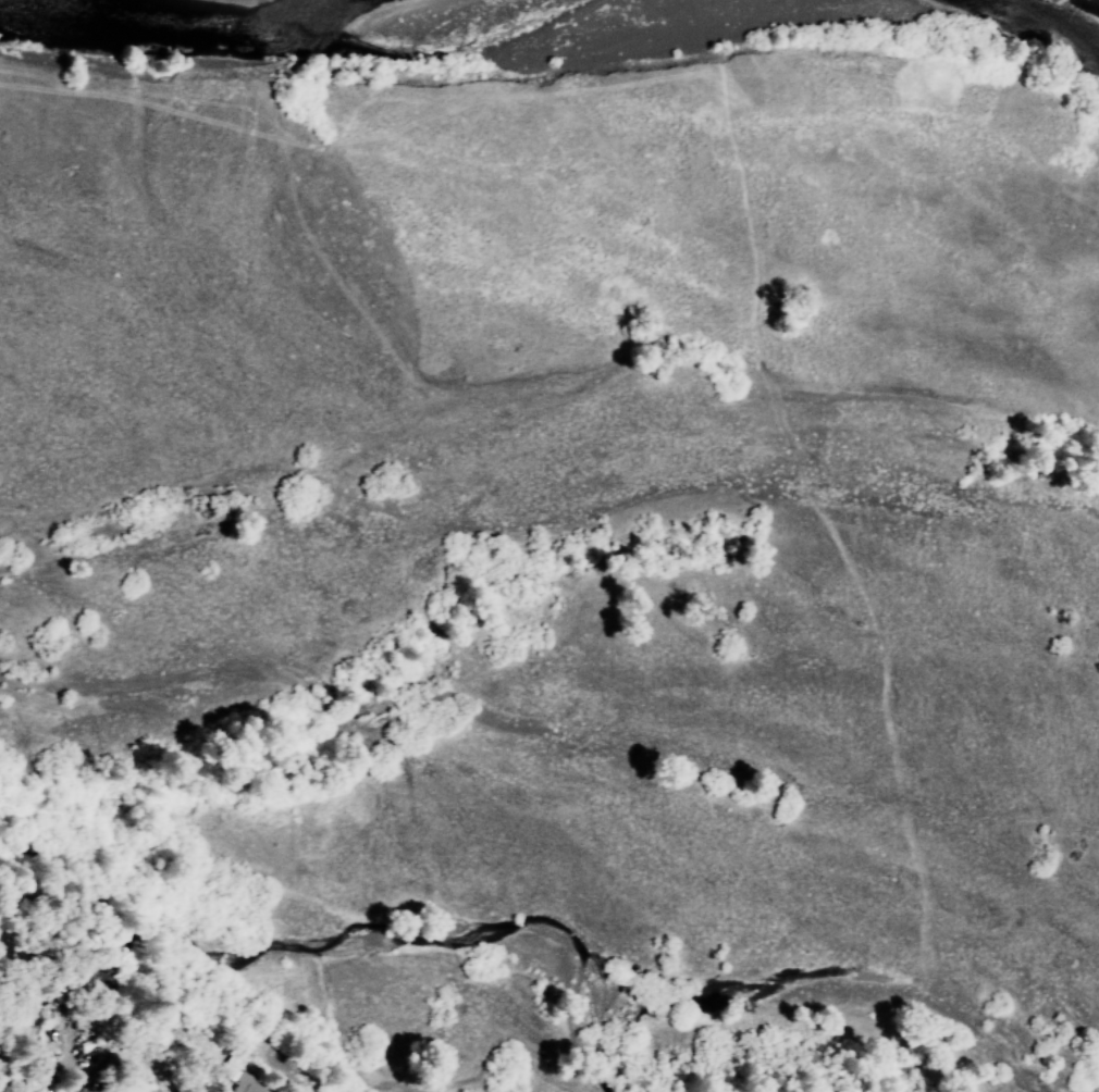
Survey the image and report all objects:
river: (90, 896)
river: (655, 984)
road: (35, 1063)
building: (132, 1085)
building: (245, 1087)

